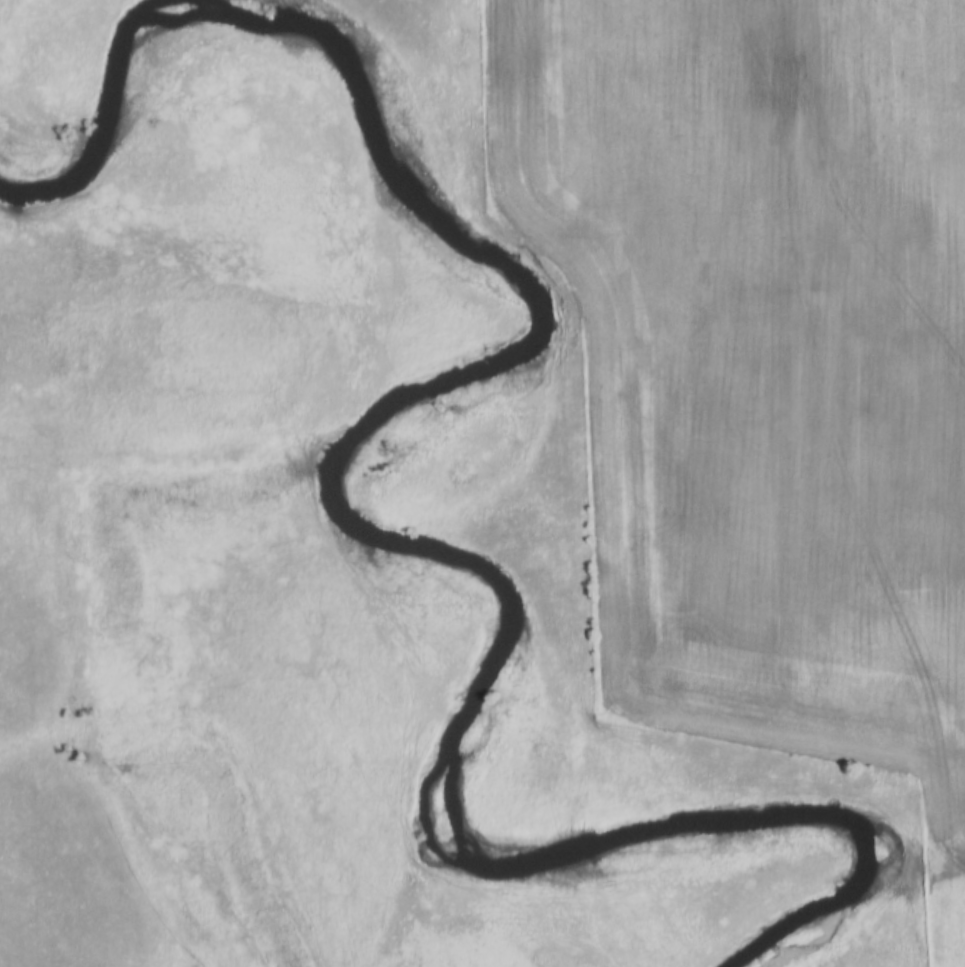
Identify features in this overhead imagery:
river: (337, 496)

